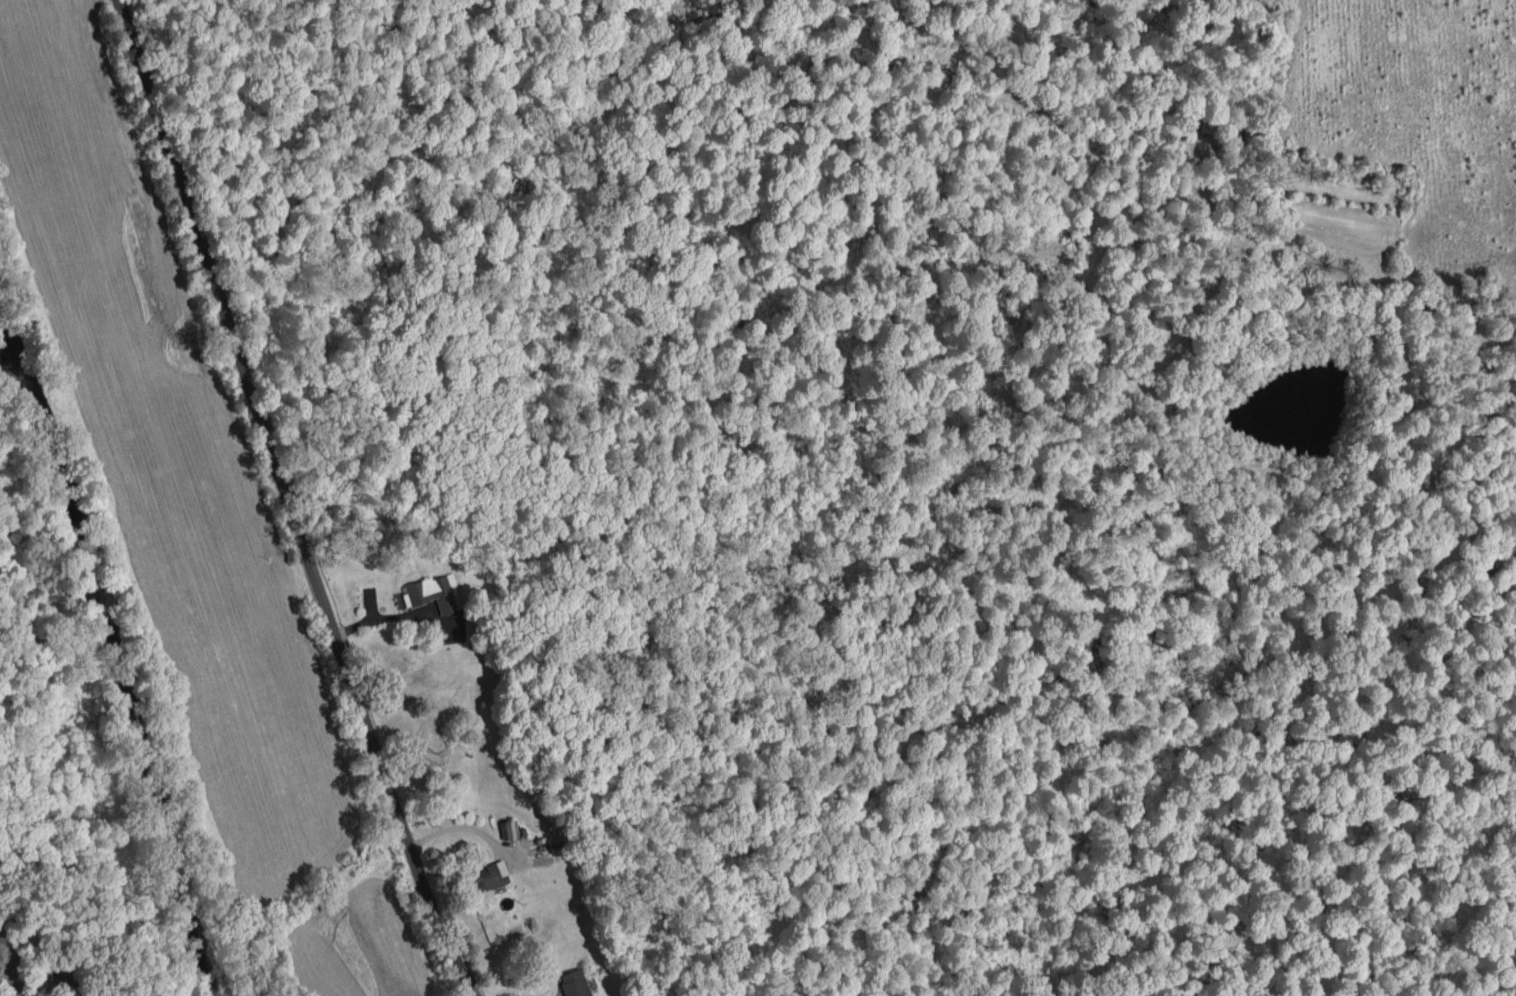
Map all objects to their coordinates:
road: (626, 96)
road: (285, 501)
building: (431, 590)
road: (453, 829)
building: (488, 873)
road: (8, 967)
building: (64, 982)
building: (572, 982)

